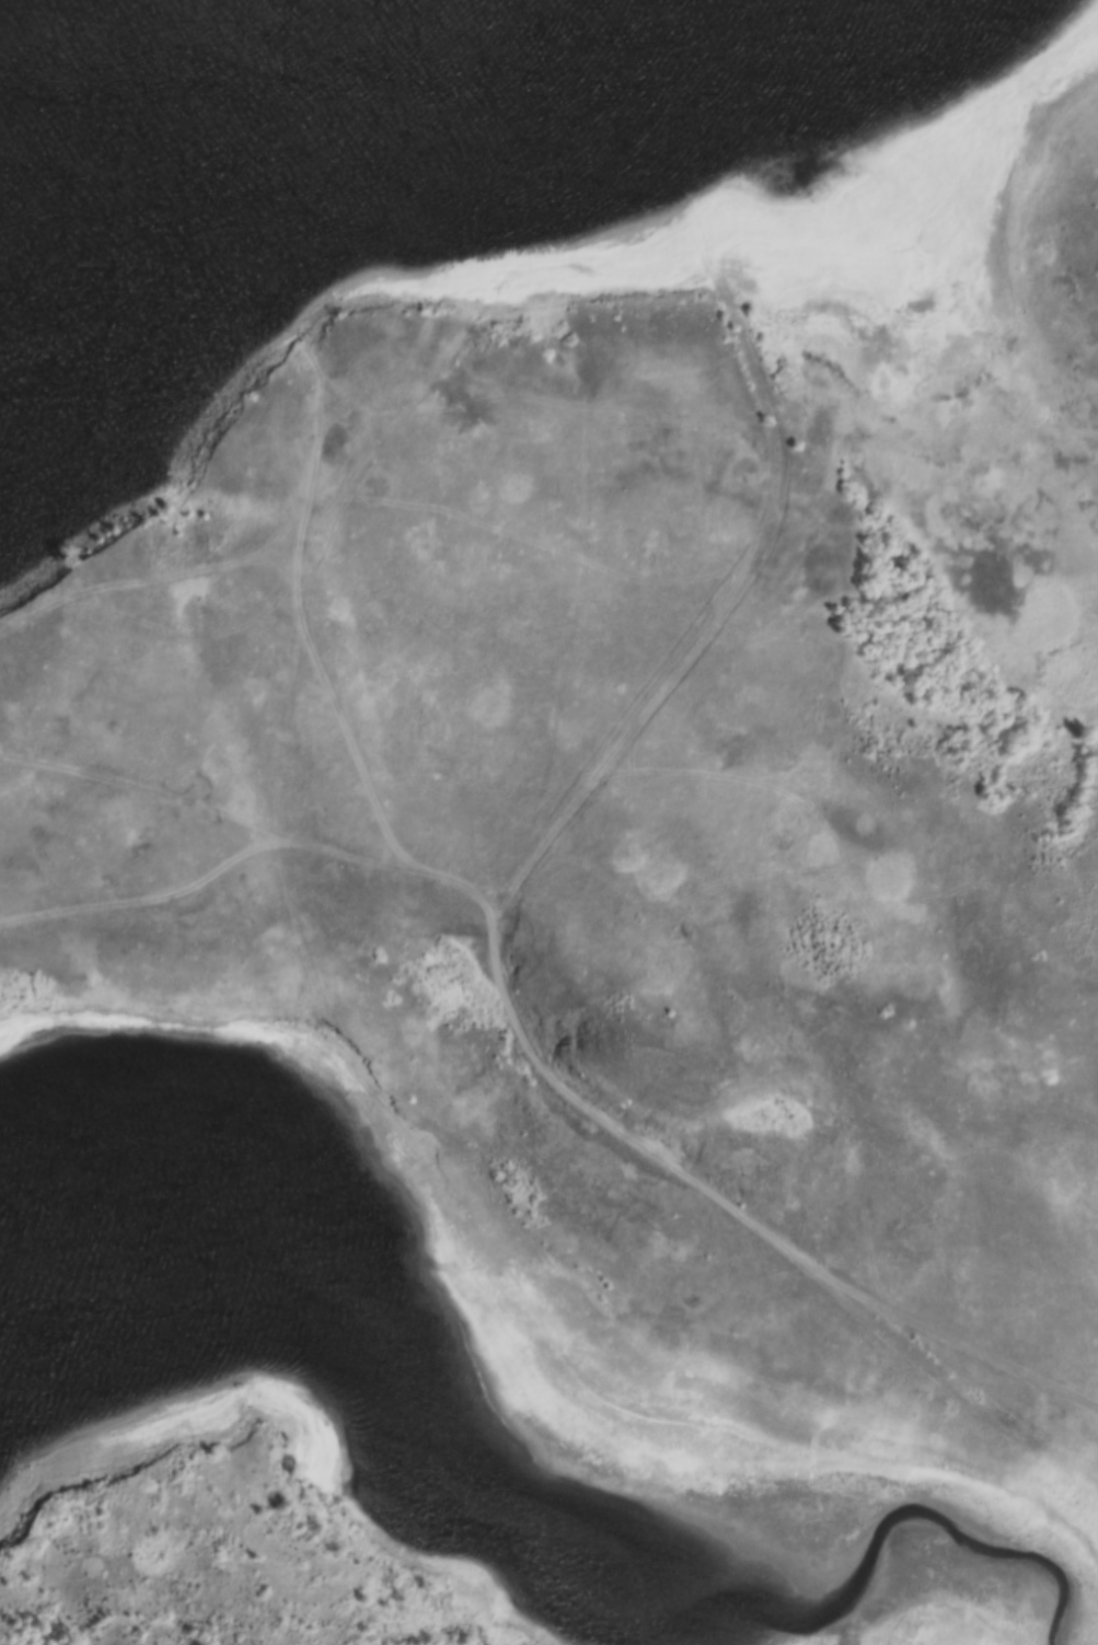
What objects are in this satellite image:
road: (540, 1075)

